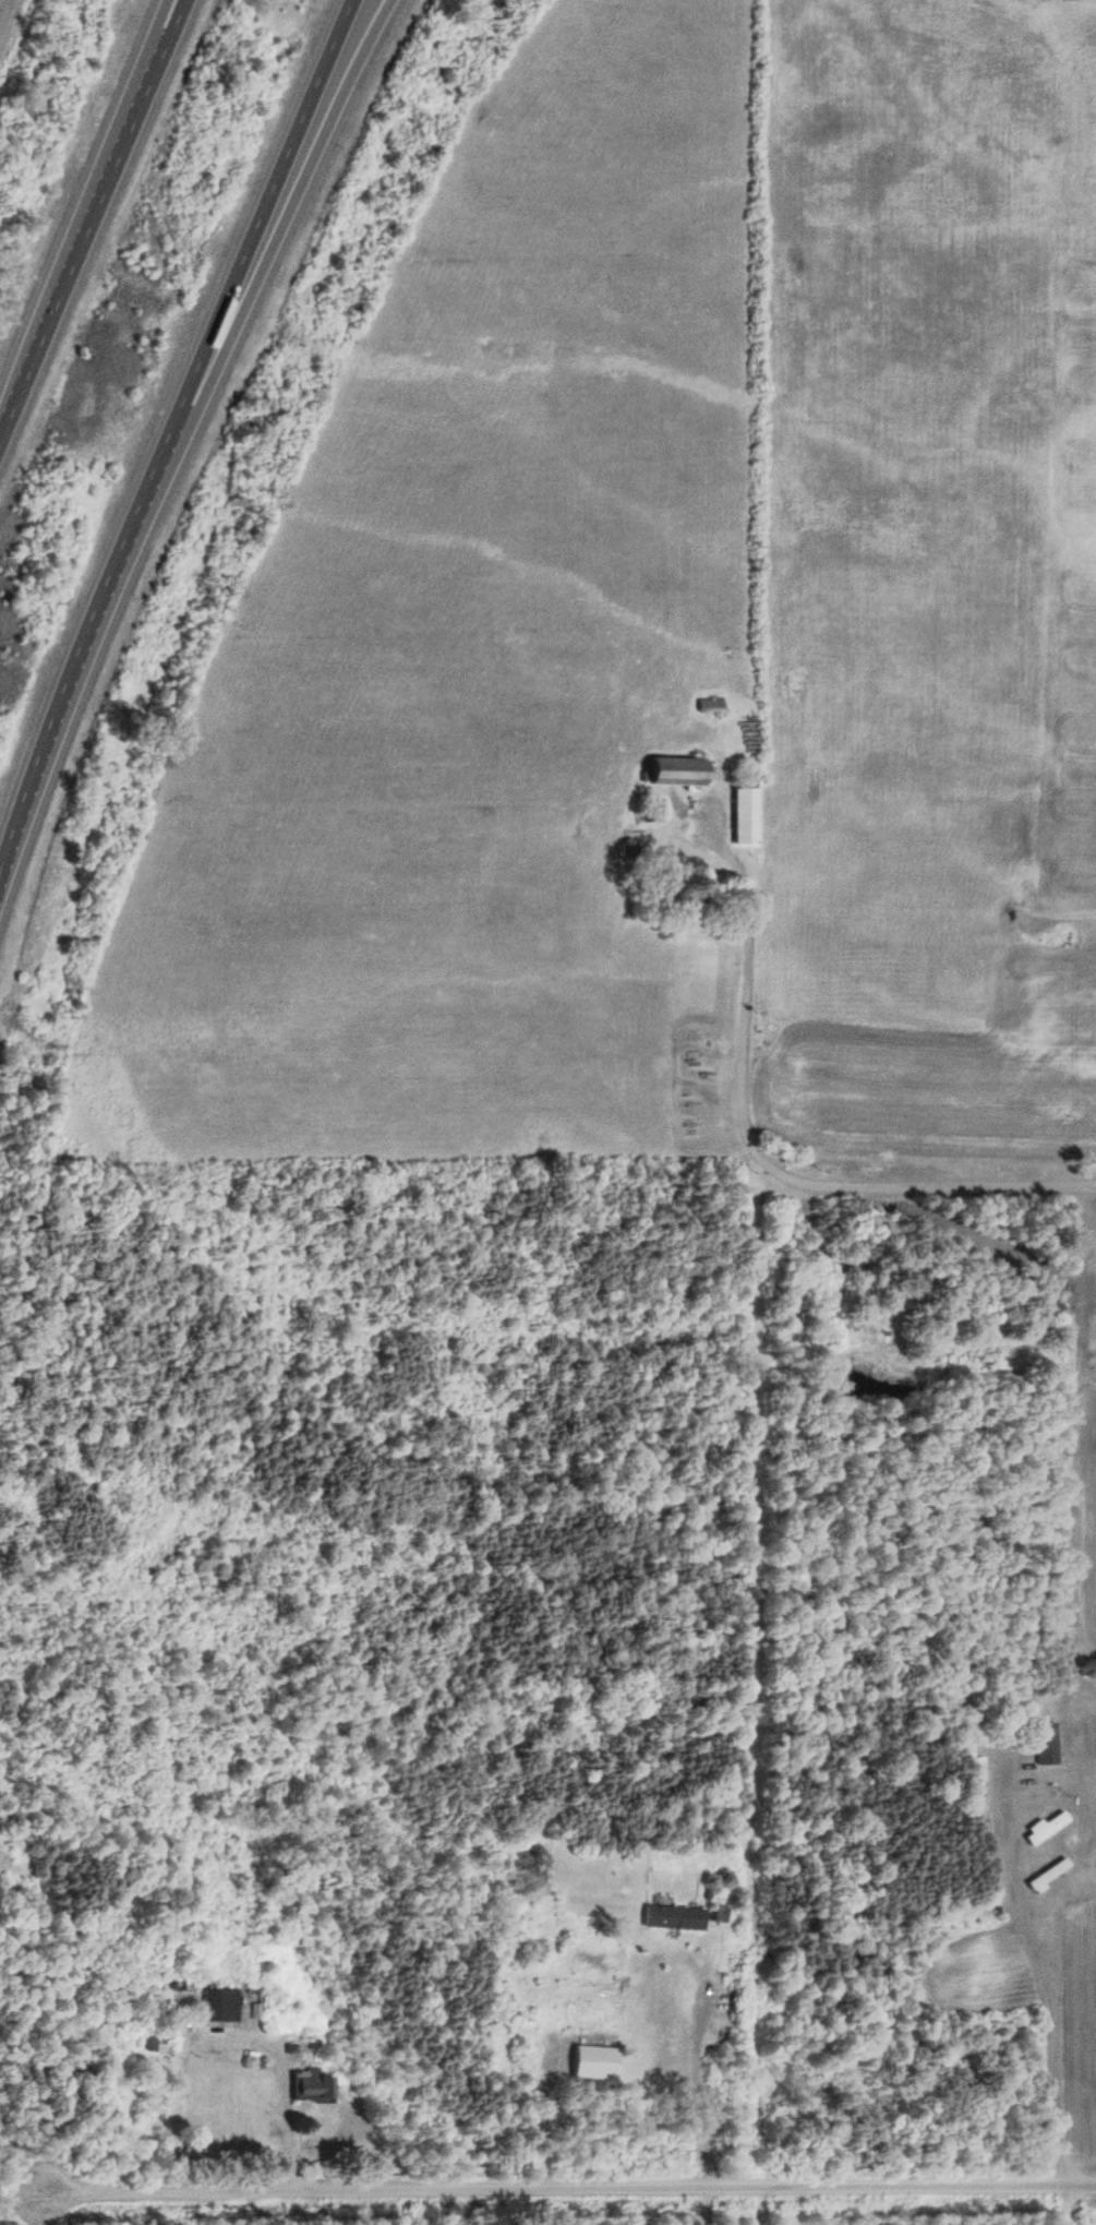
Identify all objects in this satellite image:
road: (97, 152)
road: (89, 217)
road: (269, 264)
road: (168, 433)
building: (708, 705)
building: (678, 771)
building: (742, 816)
road: (824, 996)
road: (792, 1164)
building: (1041, 1744)
building: (1041, 1827)
building: (1044, 1874)
building: (715, 1914)
building: (671, 1918)
building: (974, 1934)
building: (217, 2006)
road: (1085, 2079)
building: (306, 2085)
road: (565, 2169)
road: (436, 2198)

